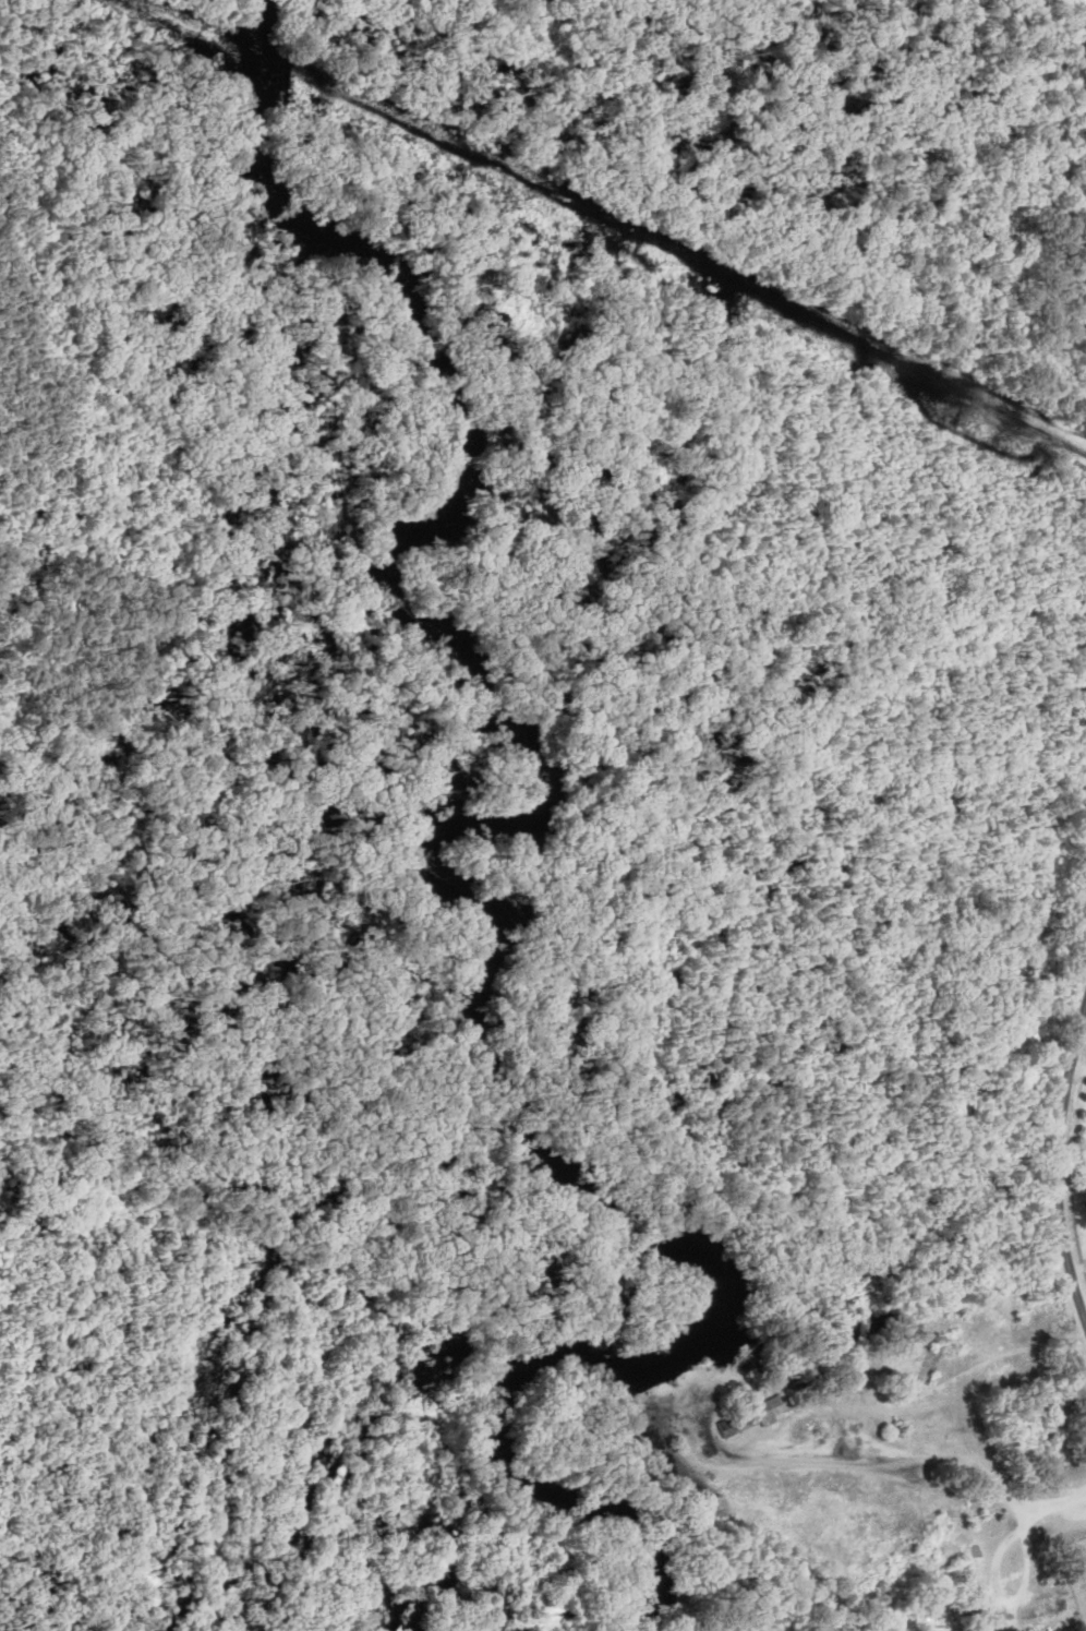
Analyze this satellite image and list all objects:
river: (458, 895)
road: (1084, 1011)
road: (1076, 1071)
road: (1052, 1165)
road: (1076, 1269)
road: (1081, 1298)
road: (1085, 1323)
building: (747, 1418)
building: (943, 1574)
building: (1038, 1612)

